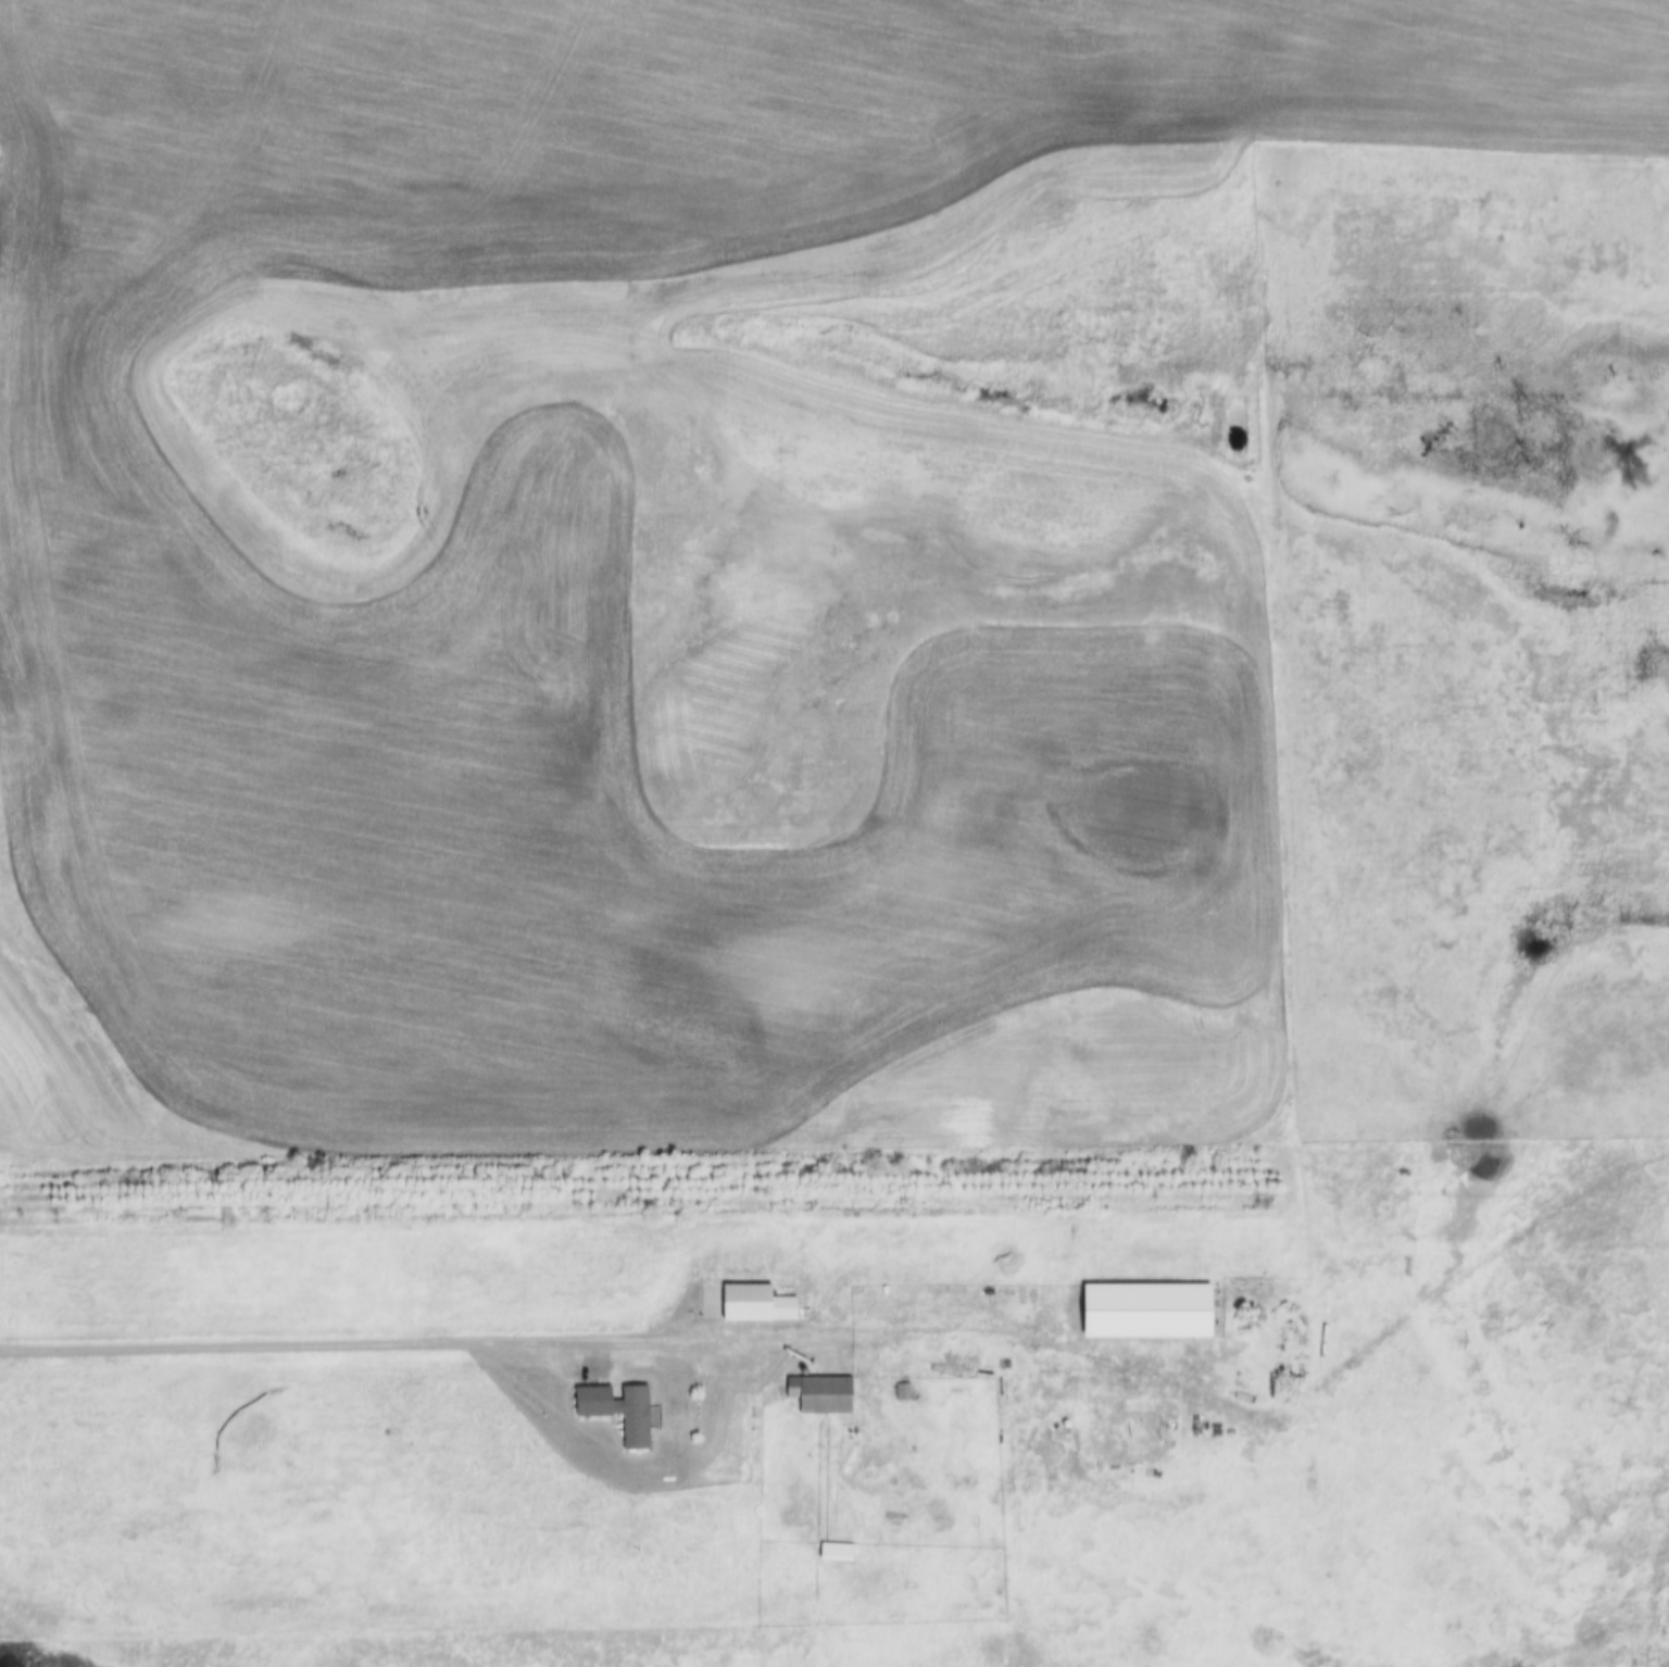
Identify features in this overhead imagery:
building: (762, 1304)
road: (642, 1342)
building: (1005, 1364)
building: (905, 1392)
building: (826, 1394)
building: (624, 1411)

